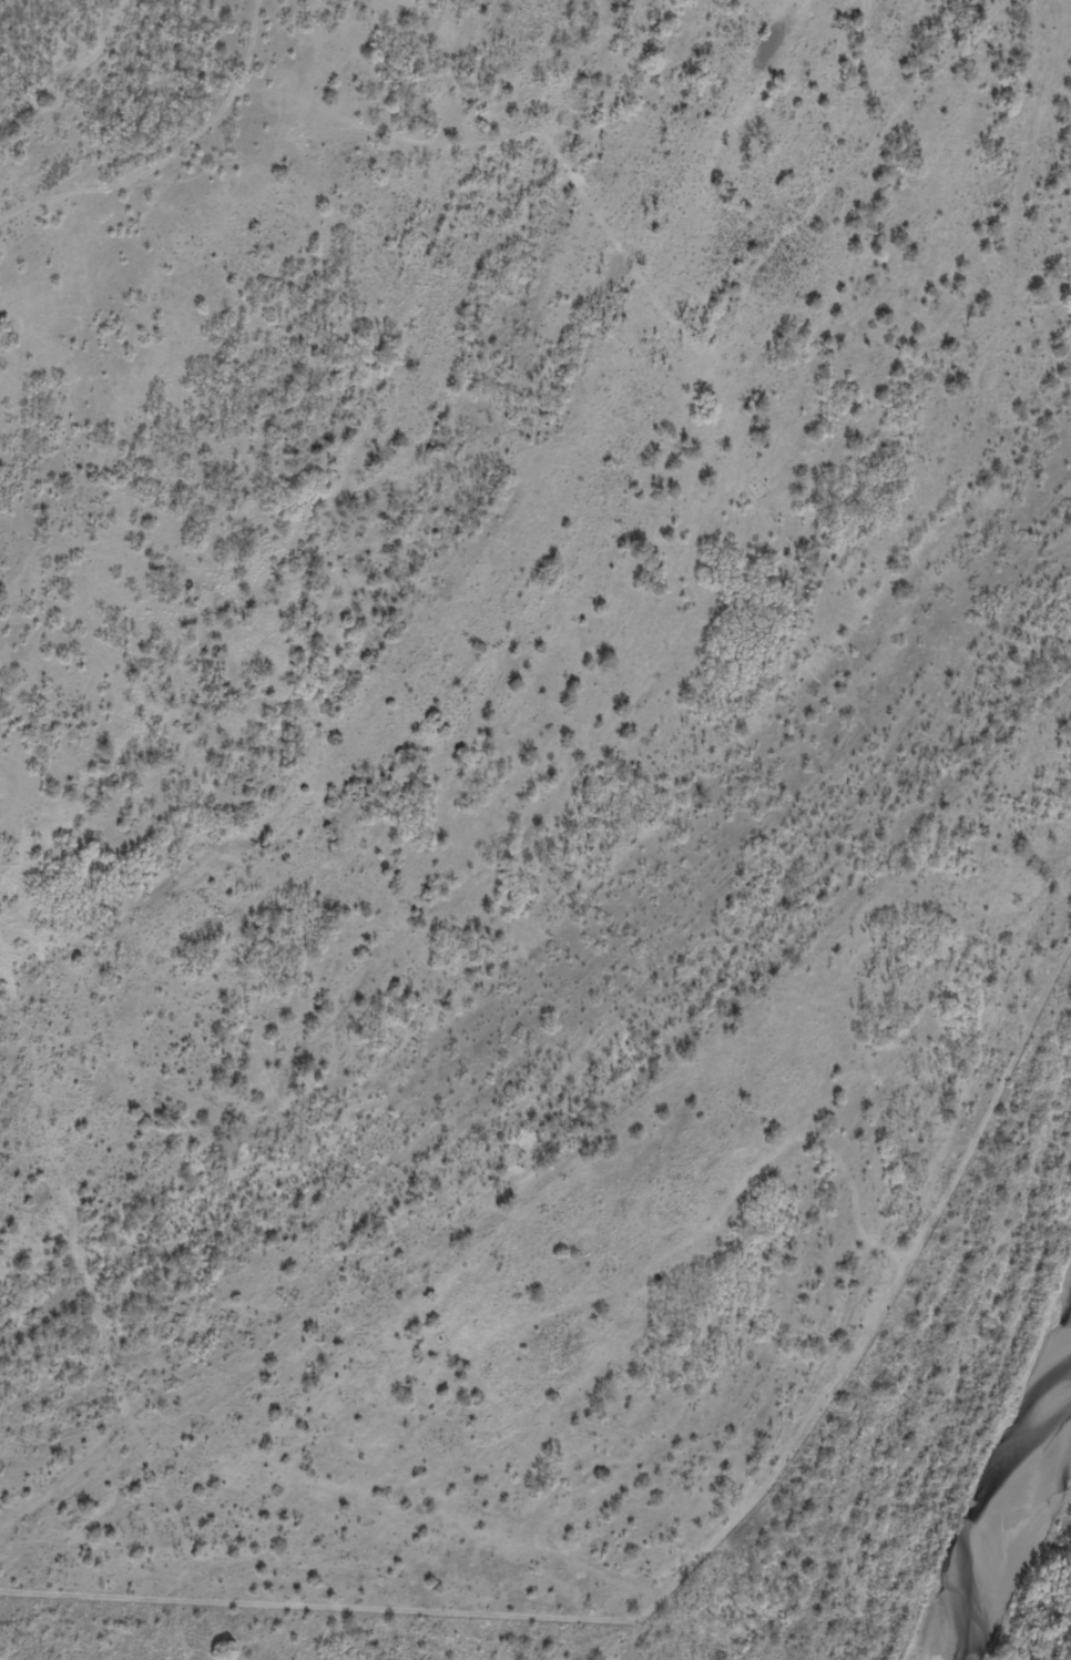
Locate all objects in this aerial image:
river: (1019, 1535)

